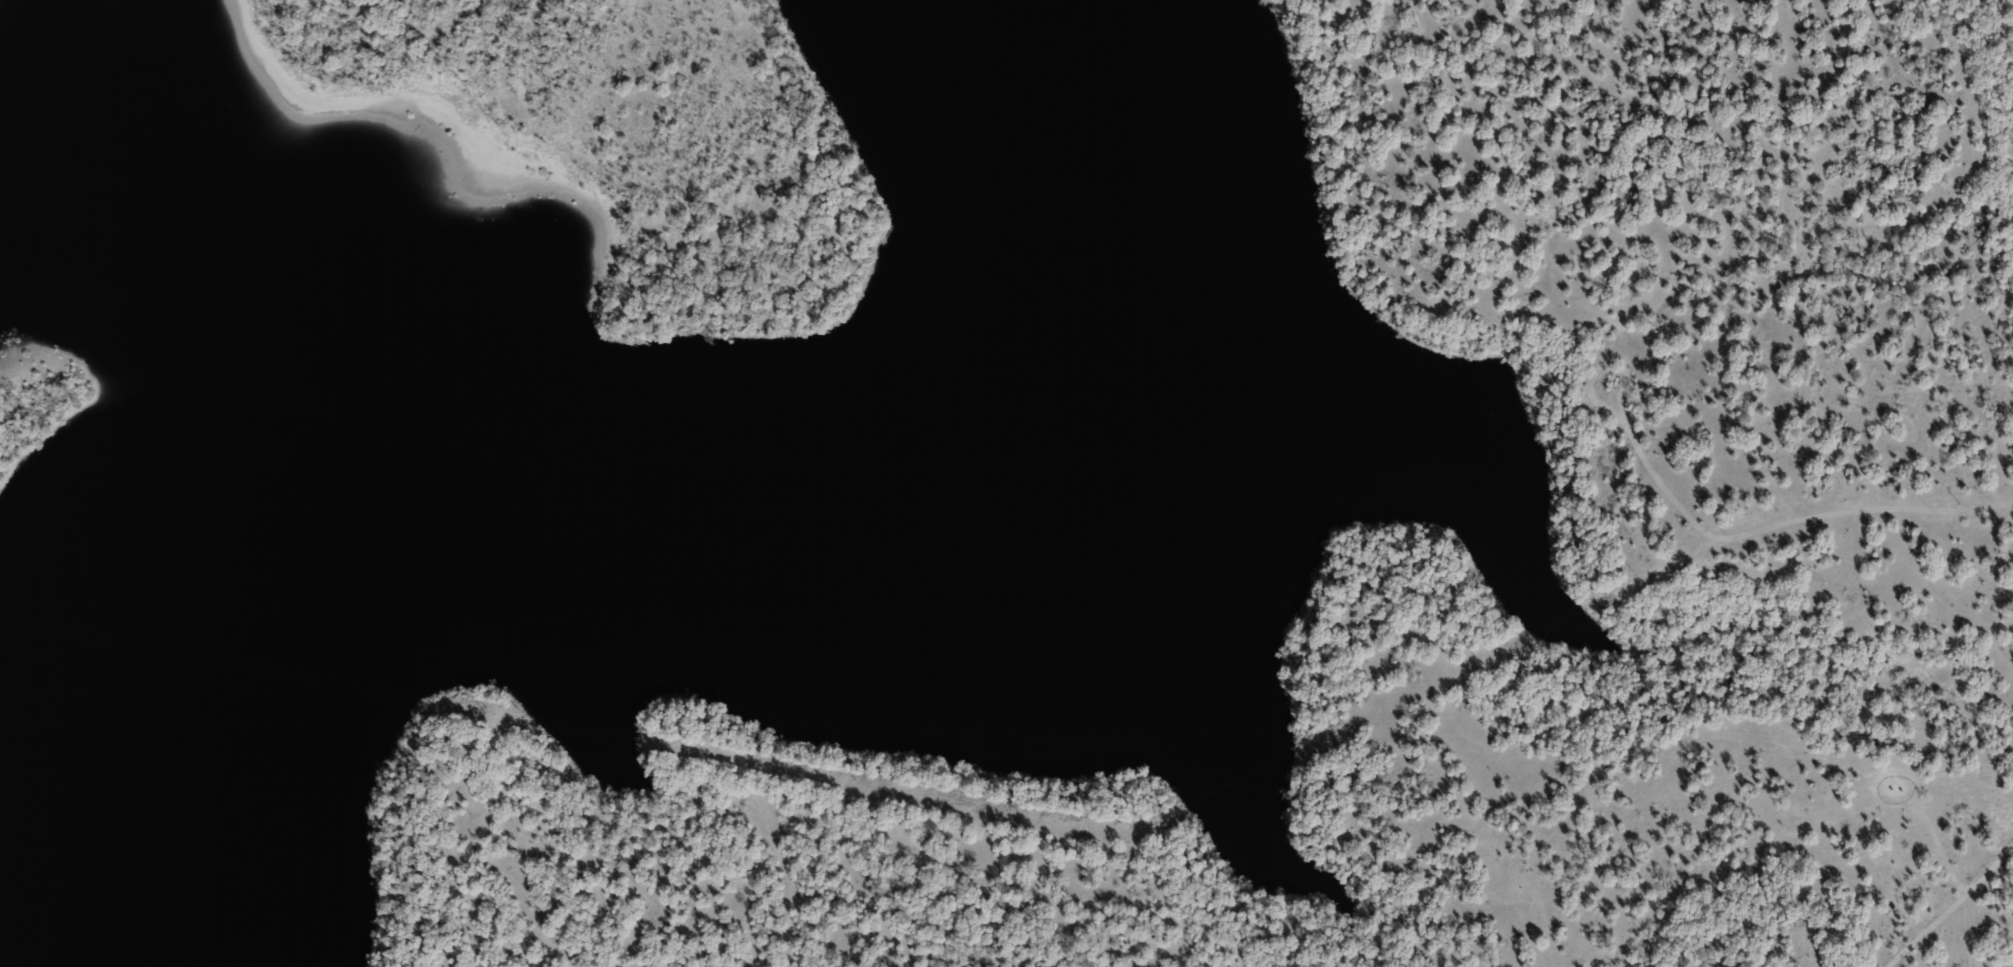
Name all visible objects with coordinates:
road: (538, 925)

